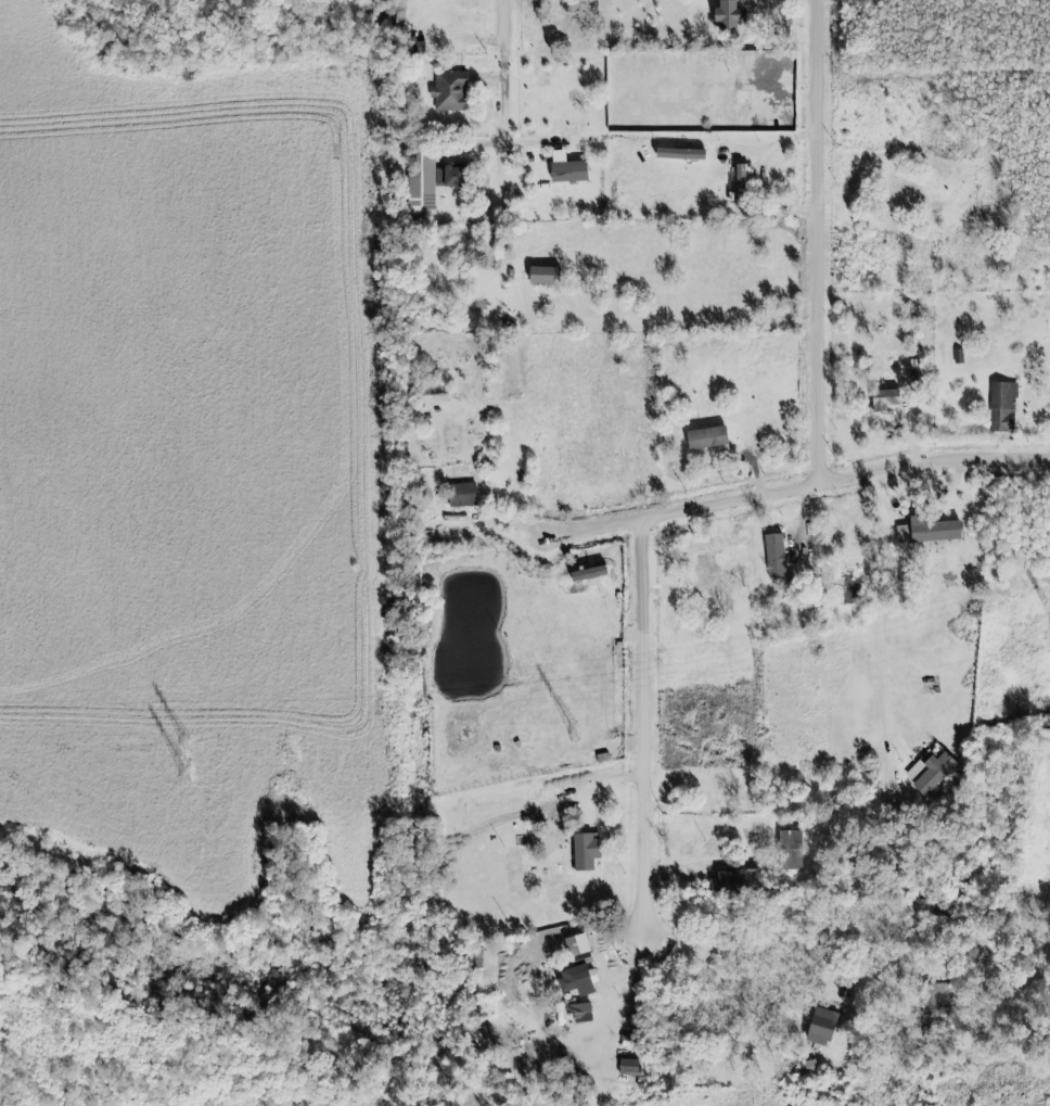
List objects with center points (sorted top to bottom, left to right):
building: (398, 14)
building: (724, 16)
road: (503, 69)
building: (450, 91)
building: (678, 153)
building: (568, 167)
road: (756, 175)
building: (426, 179)
building: (740, 183)
building: (896, 192)
building: (934, 206)
road: (824, 240)
building: (541, 275)
building: (885, 398)
building: (1001, 407)
road: (1011, 424)
road: (914, 428)
building: (705, 437)
road: (758, 461)
road: (843, 476)
building: (461, 494)
road: (591, 529)
building: (927, 531)
building: (773, 555)
building: (705, 572)
road: (878, 614)
road: (641, 726)
power tower: (572, 734)
power tower: (183, 742)
building: (929, 772)
building: (587, 850)
building: (786, 850)
building: (733, 880)
building: (925, 908)
building: (573, 972)
road: (622, 1002)
building: (577, 1012)
building: (817, 1027)
building: (627, 1068)

